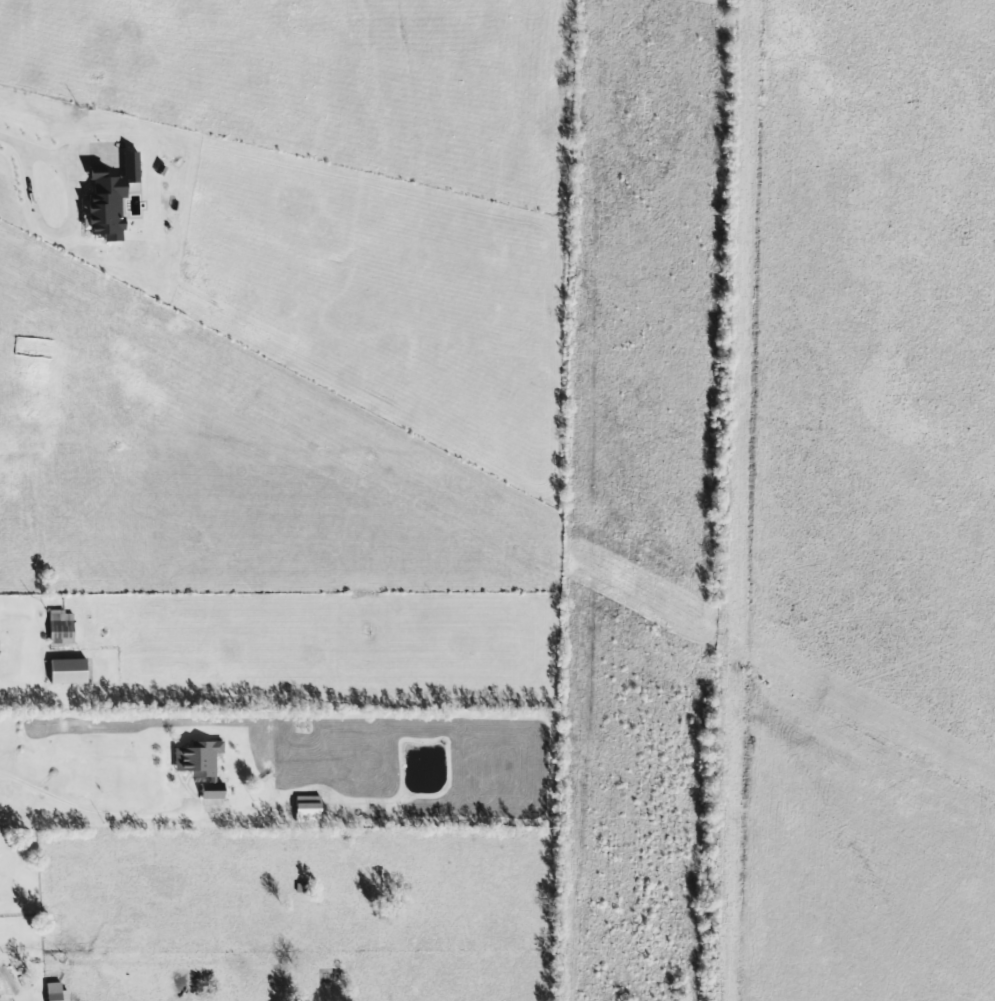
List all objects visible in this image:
building: (110, 199)
building: (60, 627)
building: (67, 670)
building: (200, 764)
building: (307, 808)
building: (55, 992)

